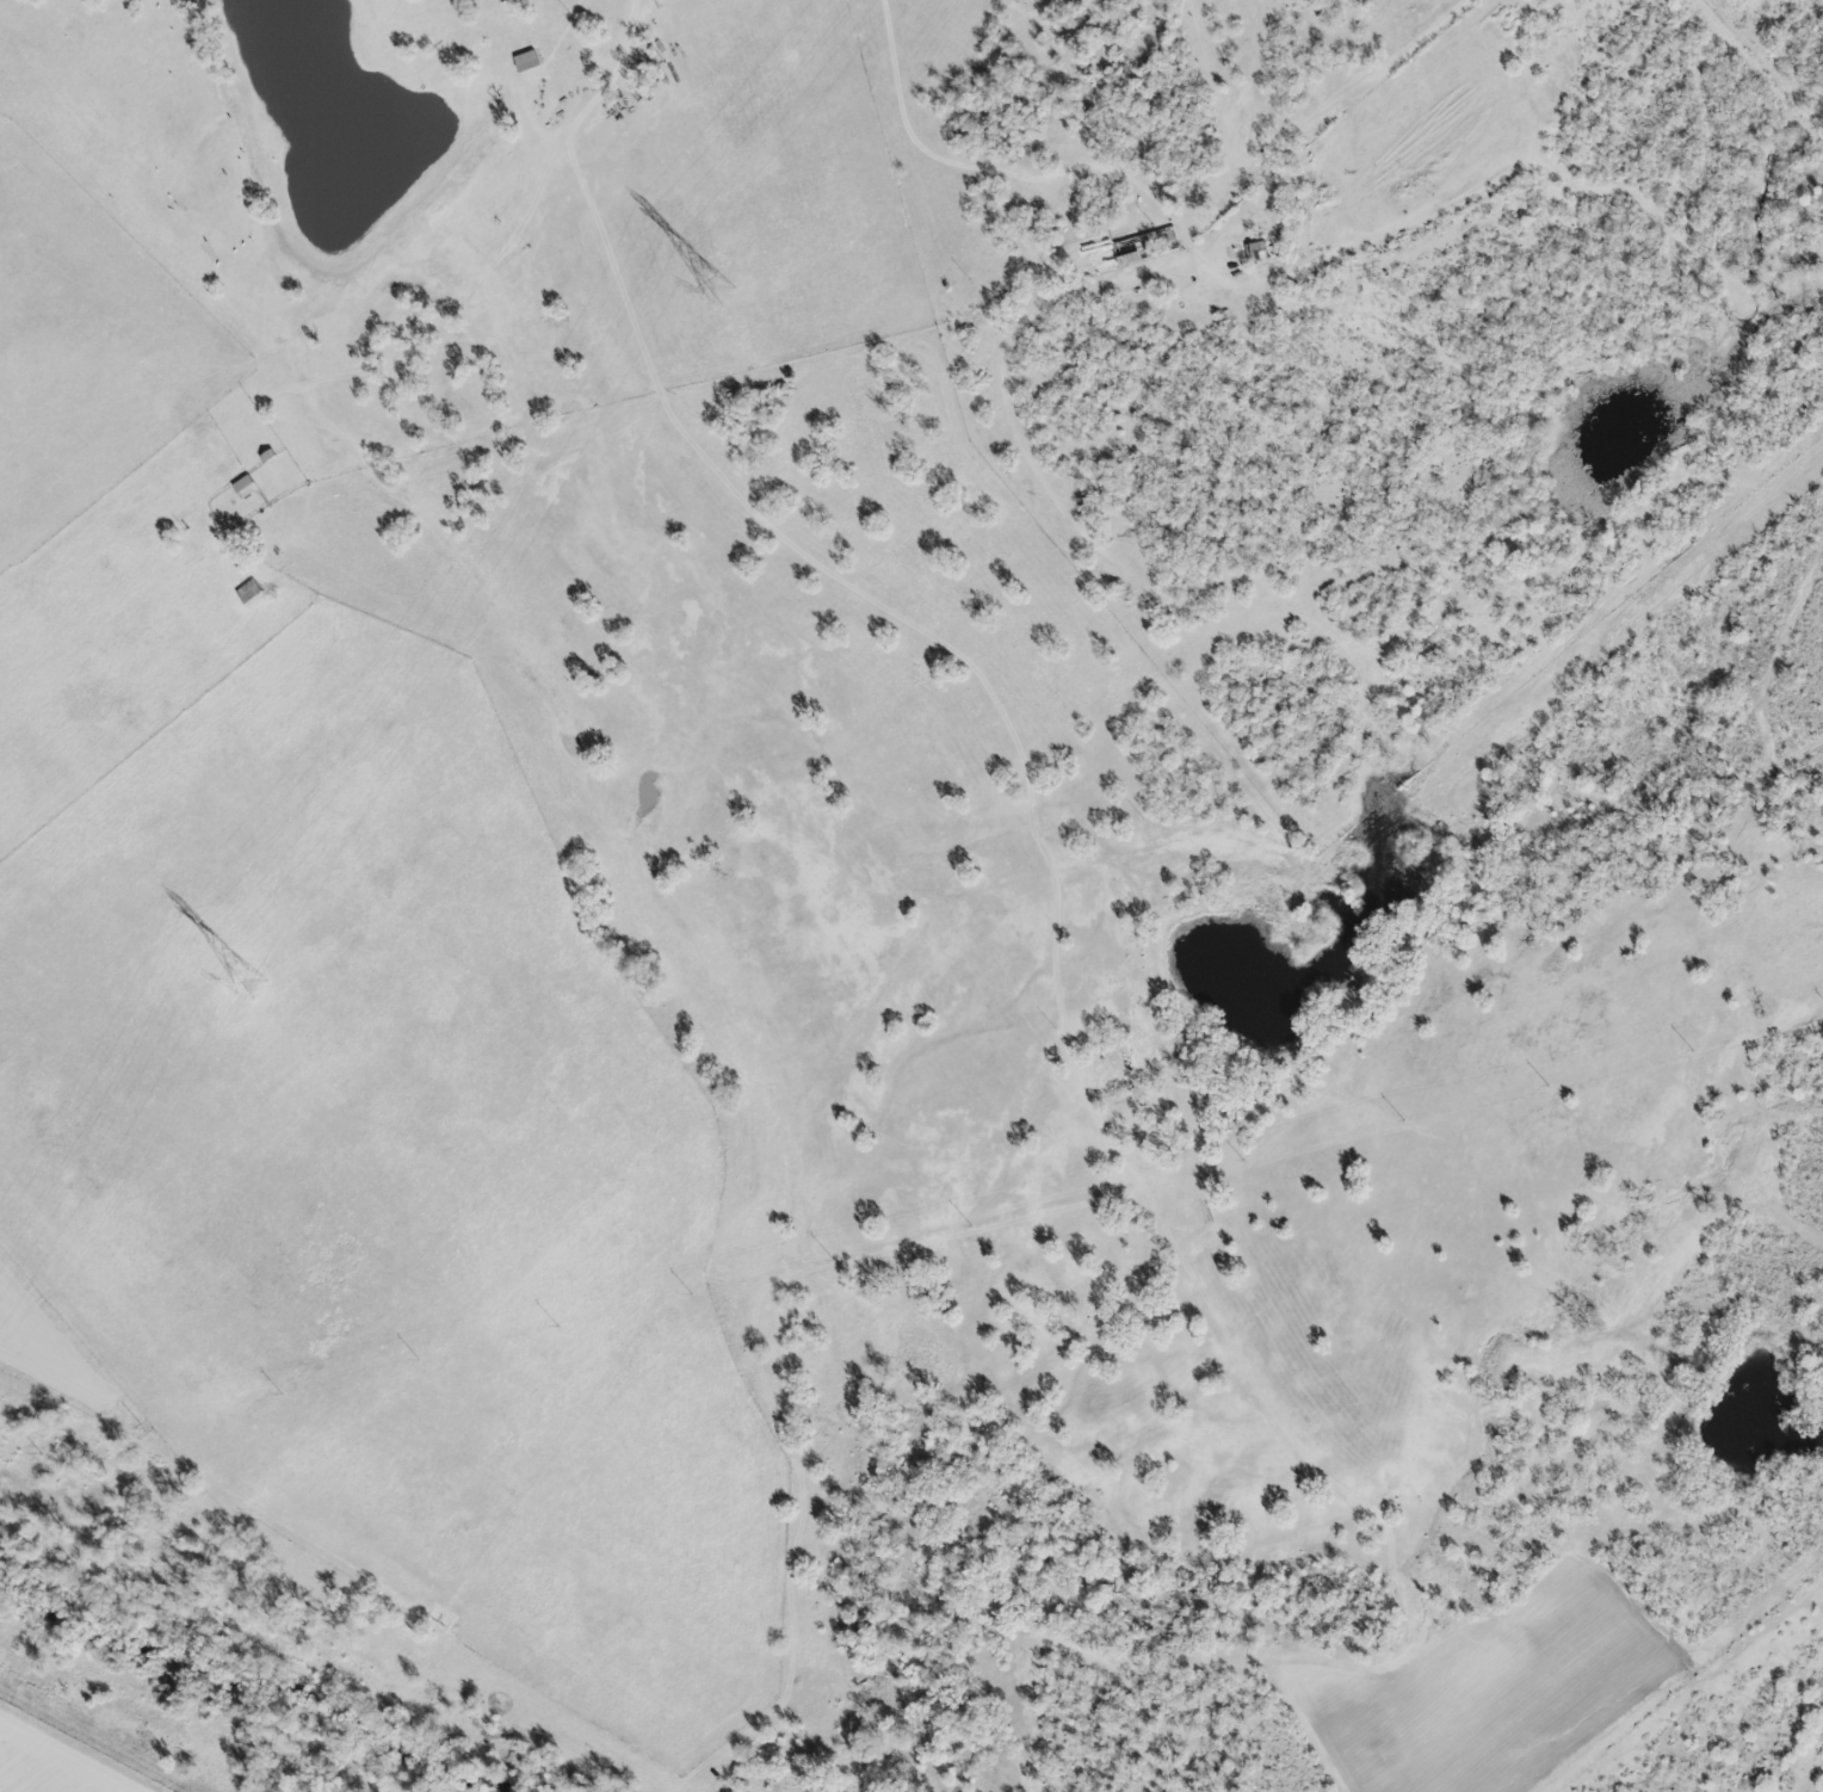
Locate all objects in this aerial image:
building: (525, 63)
road: (618, 68)
building: (1260, 252)
power tower: (719, 291)
power tower: (246, 987)
river: (265, 1687)

